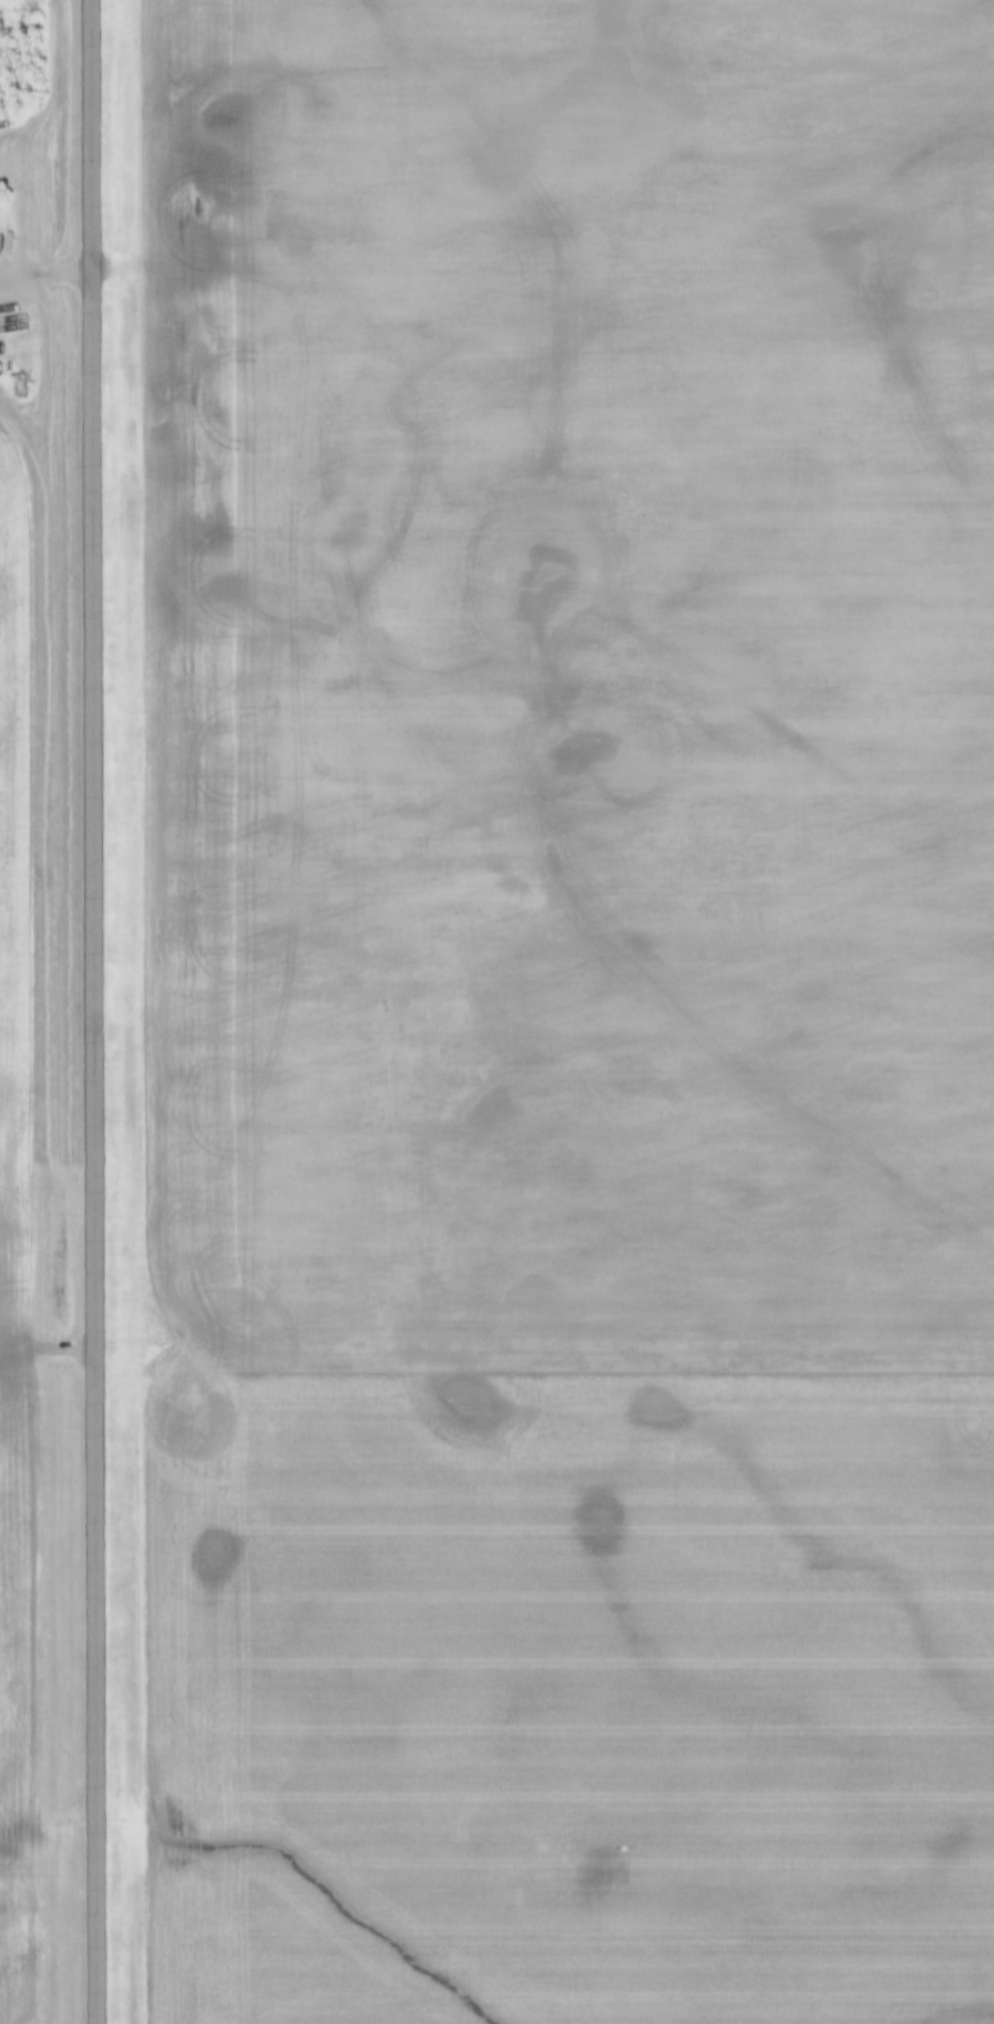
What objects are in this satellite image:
building: (17, 390)
road: (96, 1012)

